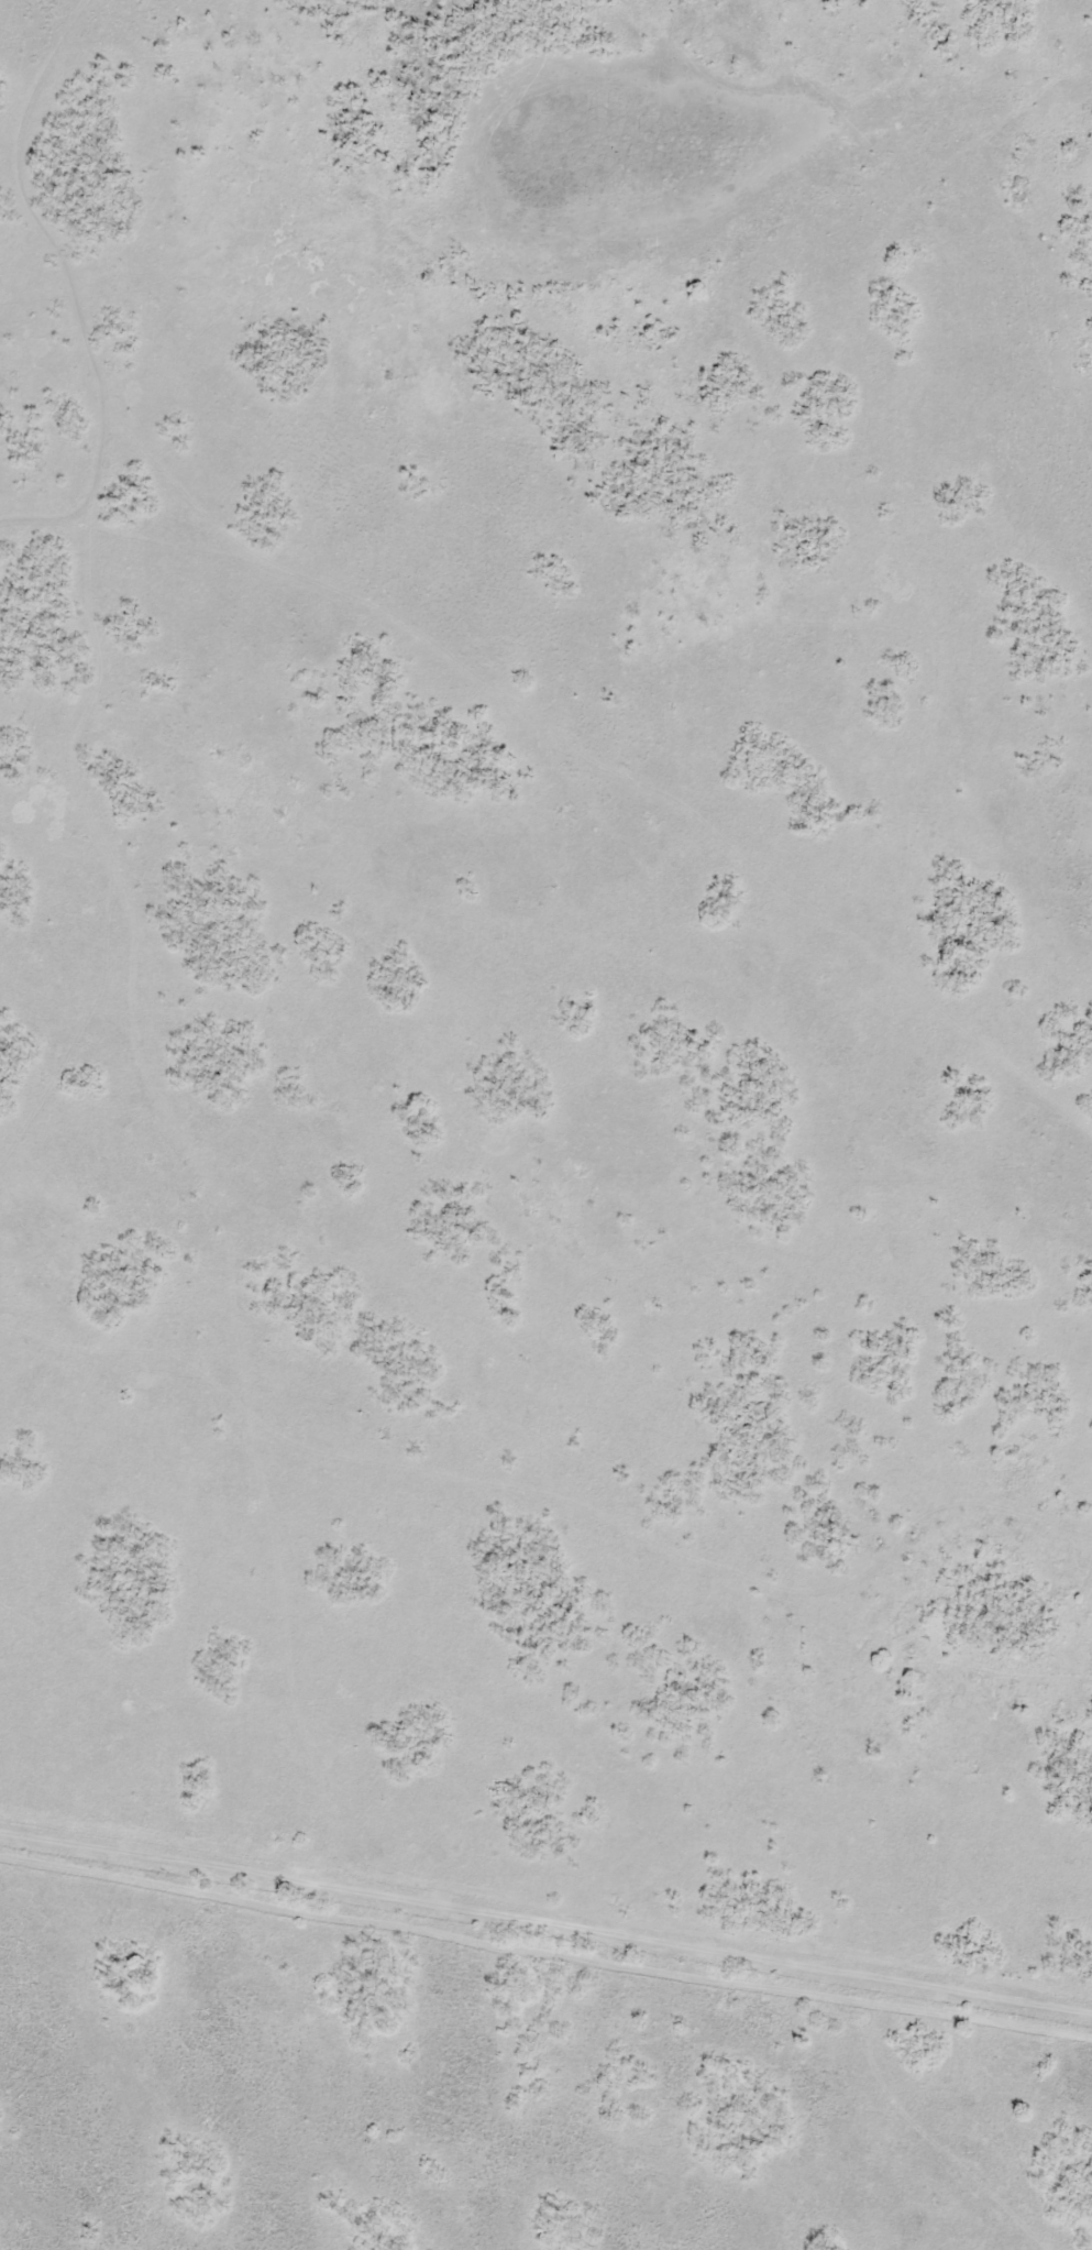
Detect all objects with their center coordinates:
road: (545, 1905)

